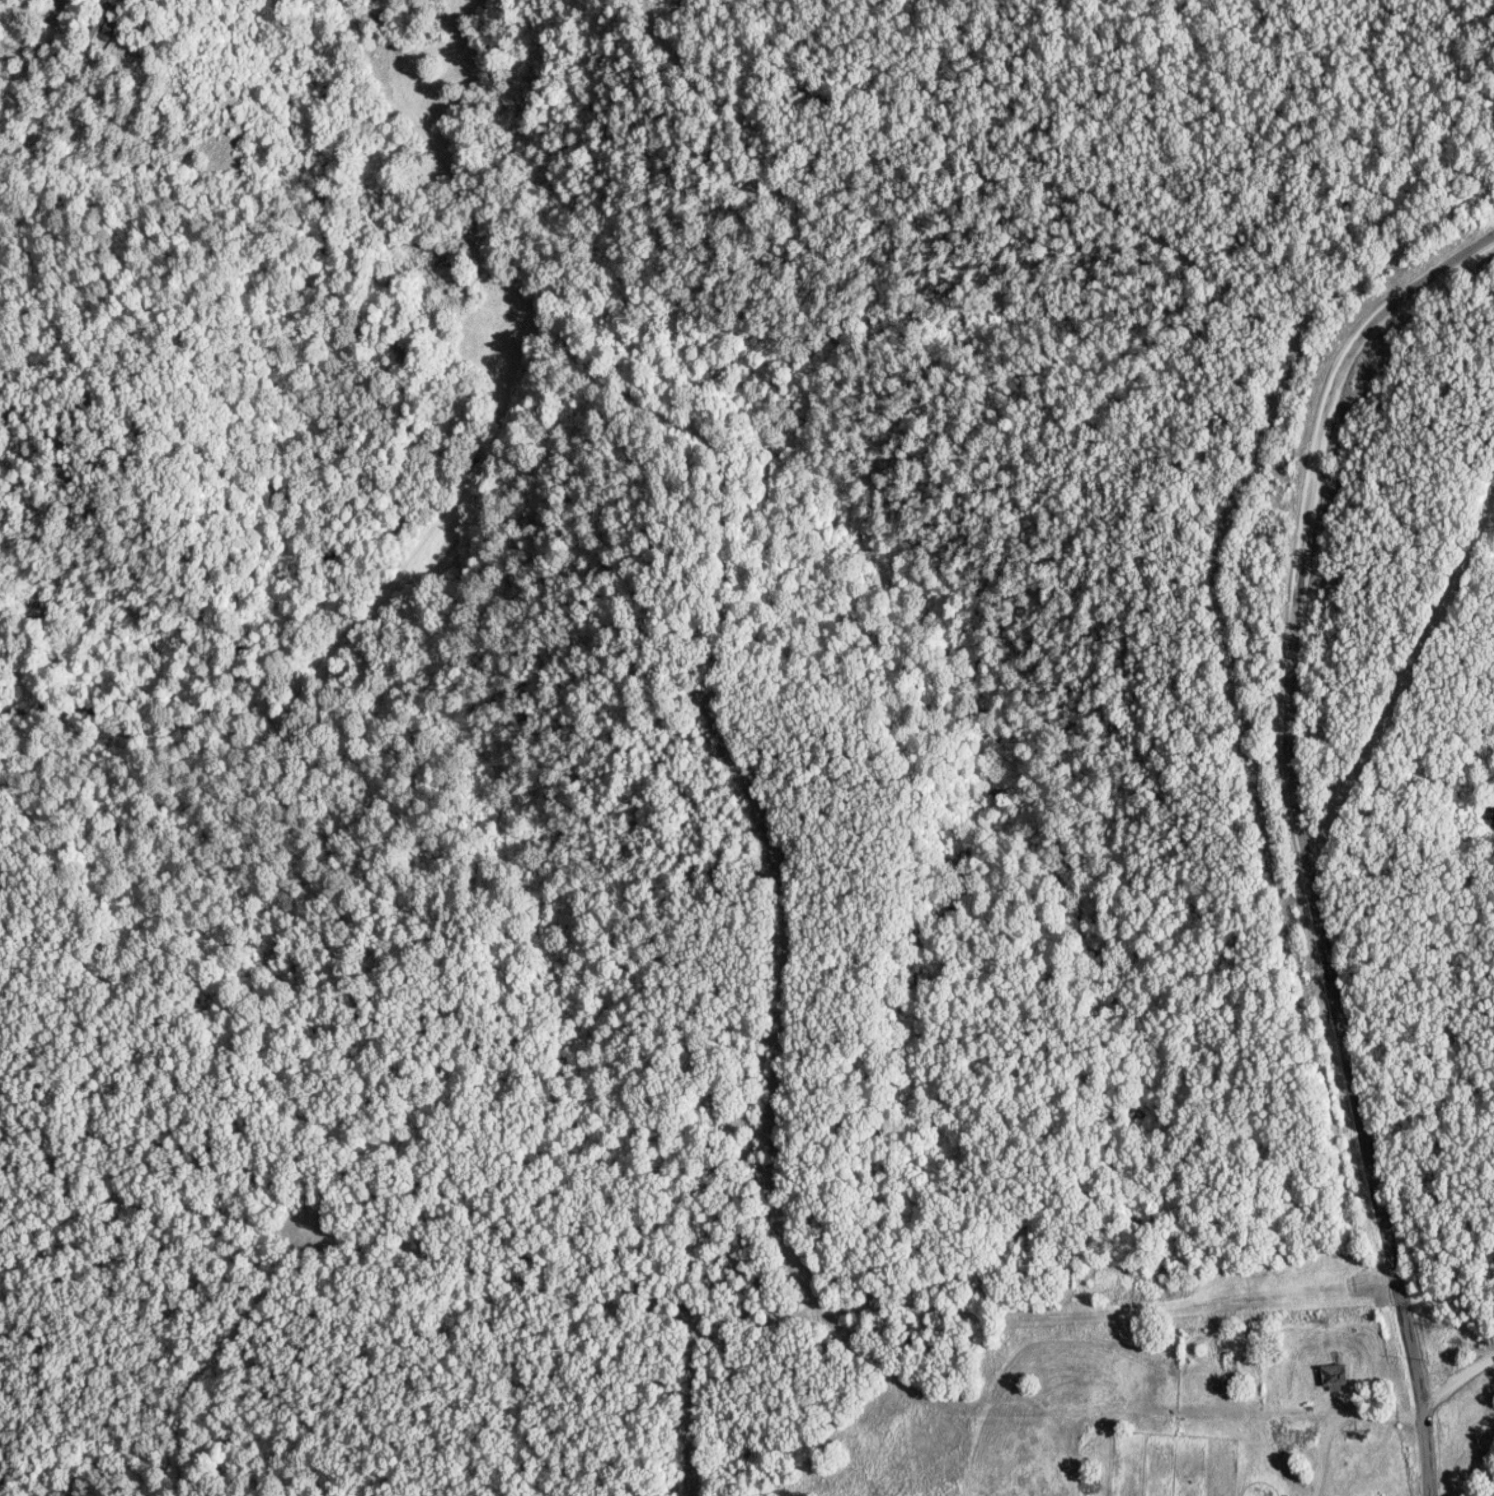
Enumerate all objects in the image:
building: (103, 11)
building: (109, 29)
road: (1305, 834)
building: (1334, 1376)
road: (1459, 1383)
road: (1346, 1419)

